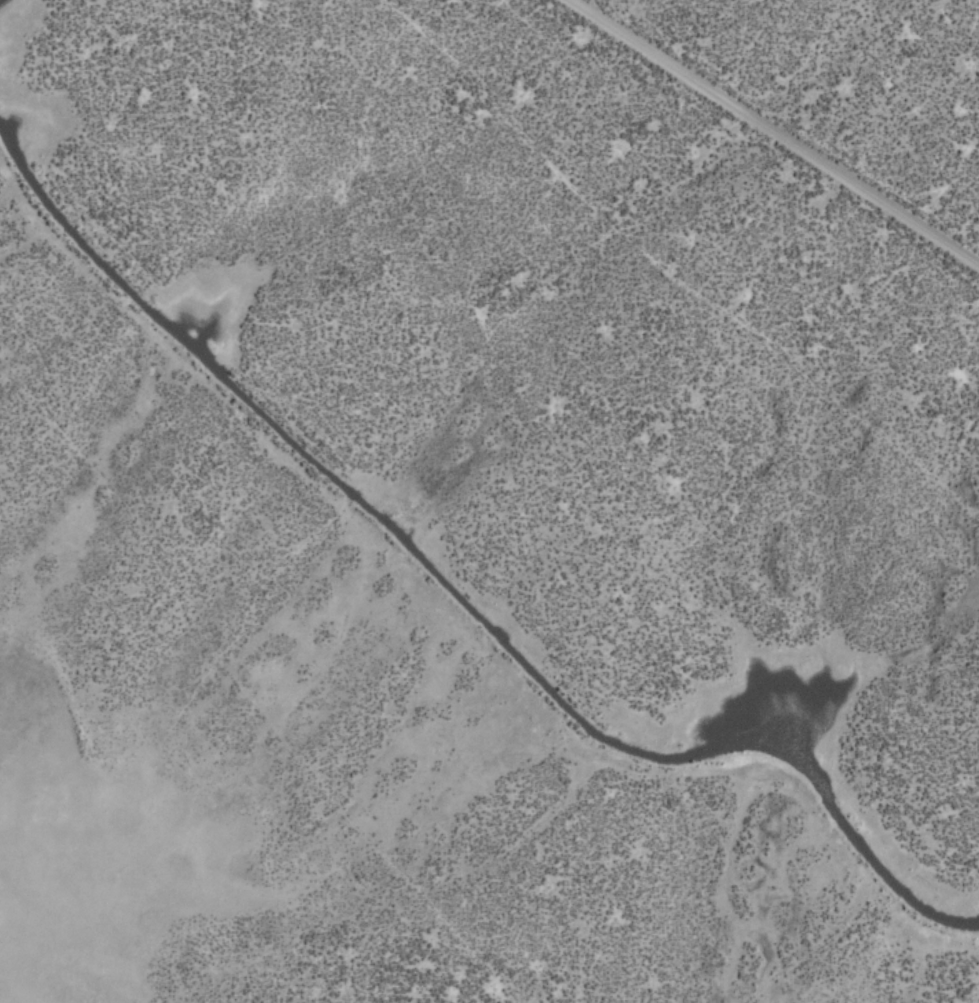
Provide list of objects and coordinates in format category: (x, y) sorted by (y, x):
road: (773, 133)

